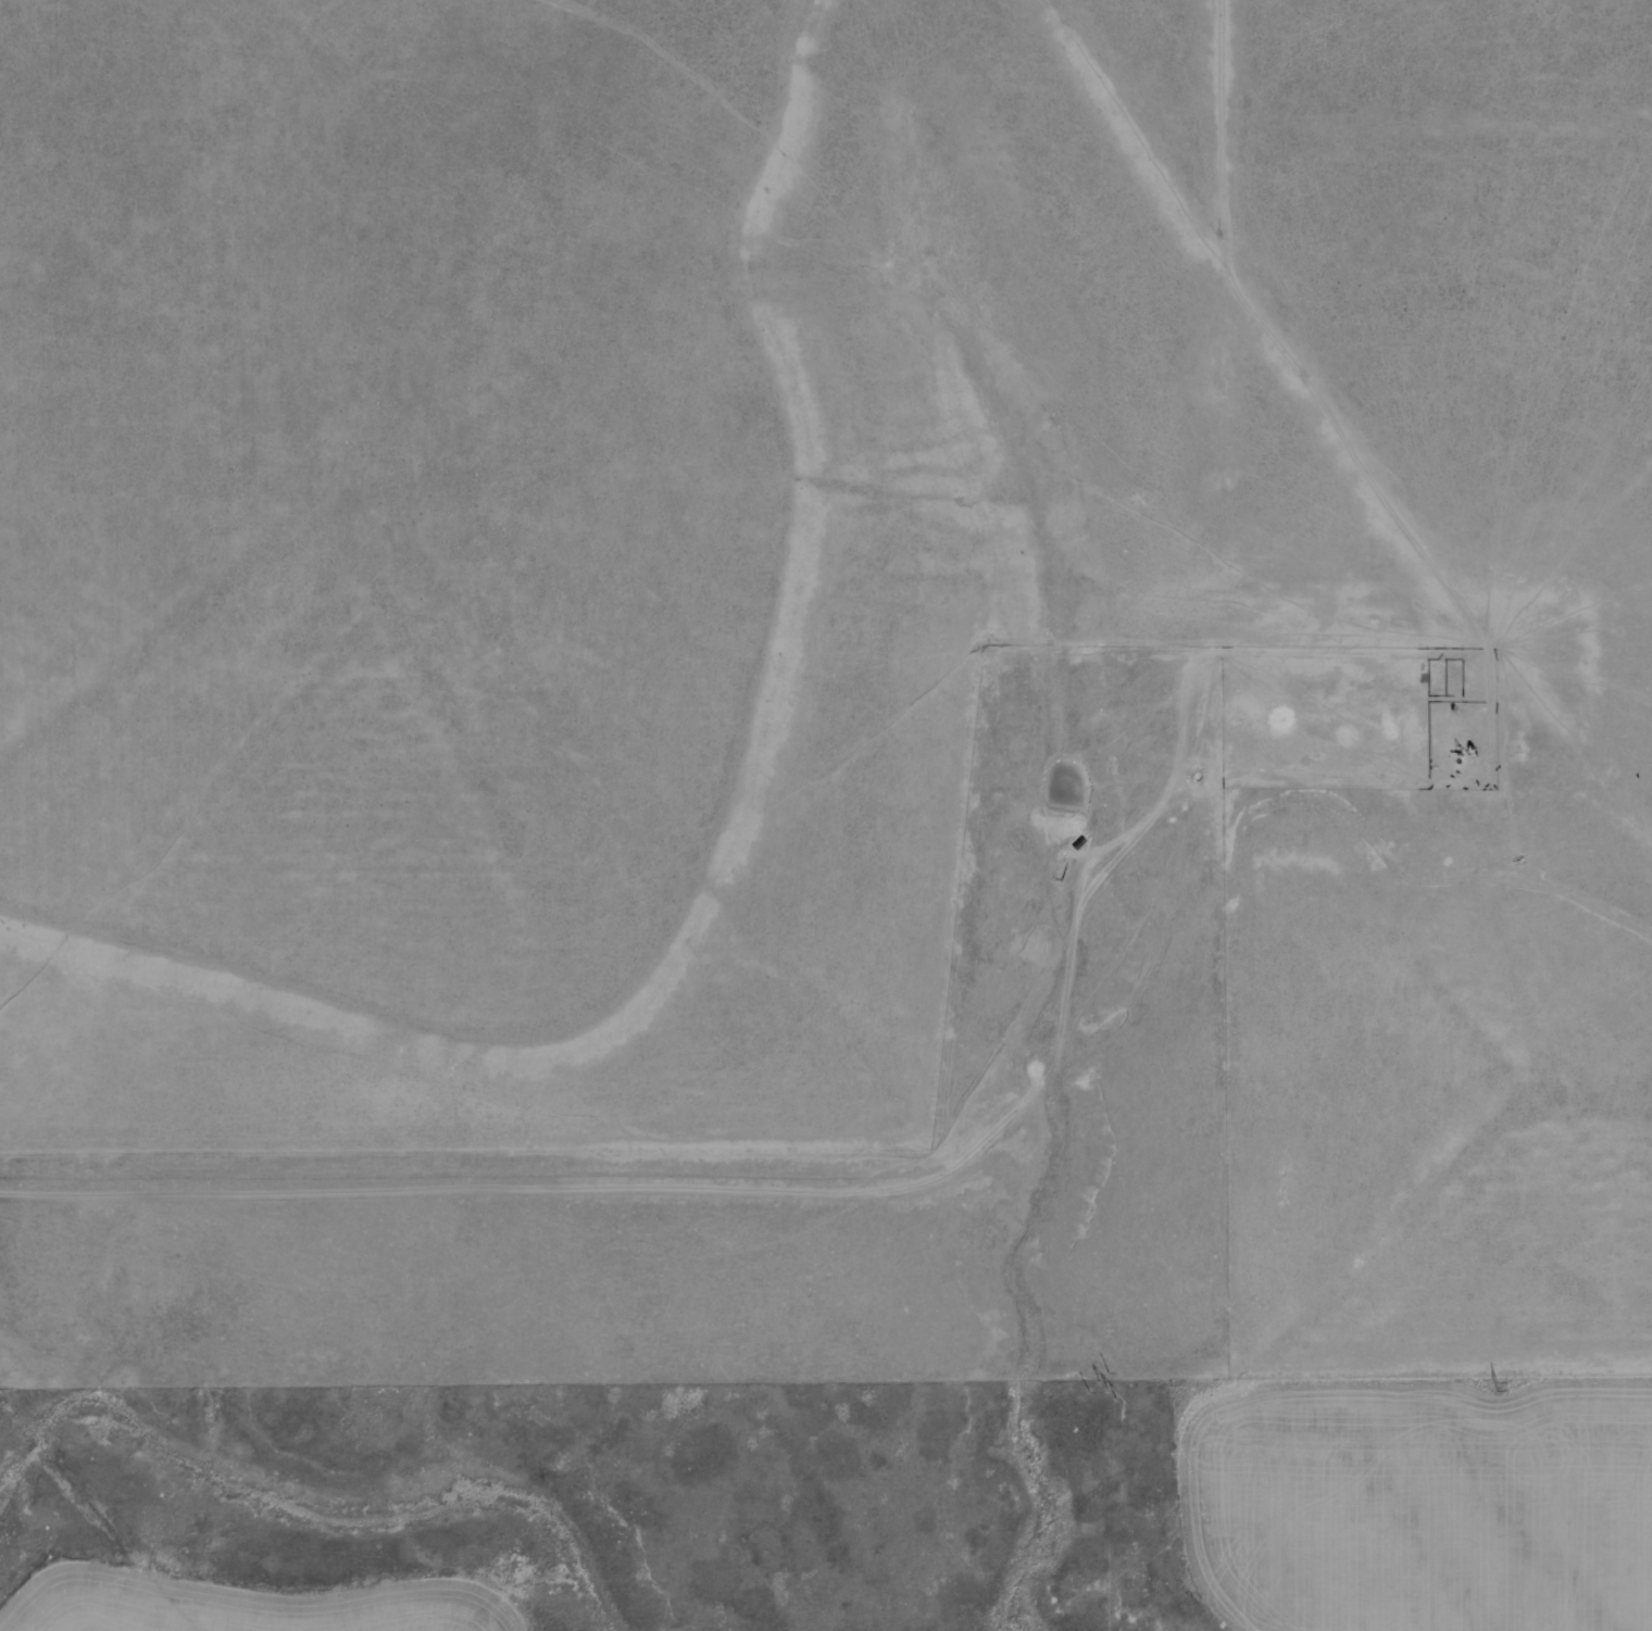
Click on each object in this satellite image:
road: (1205, 318)

